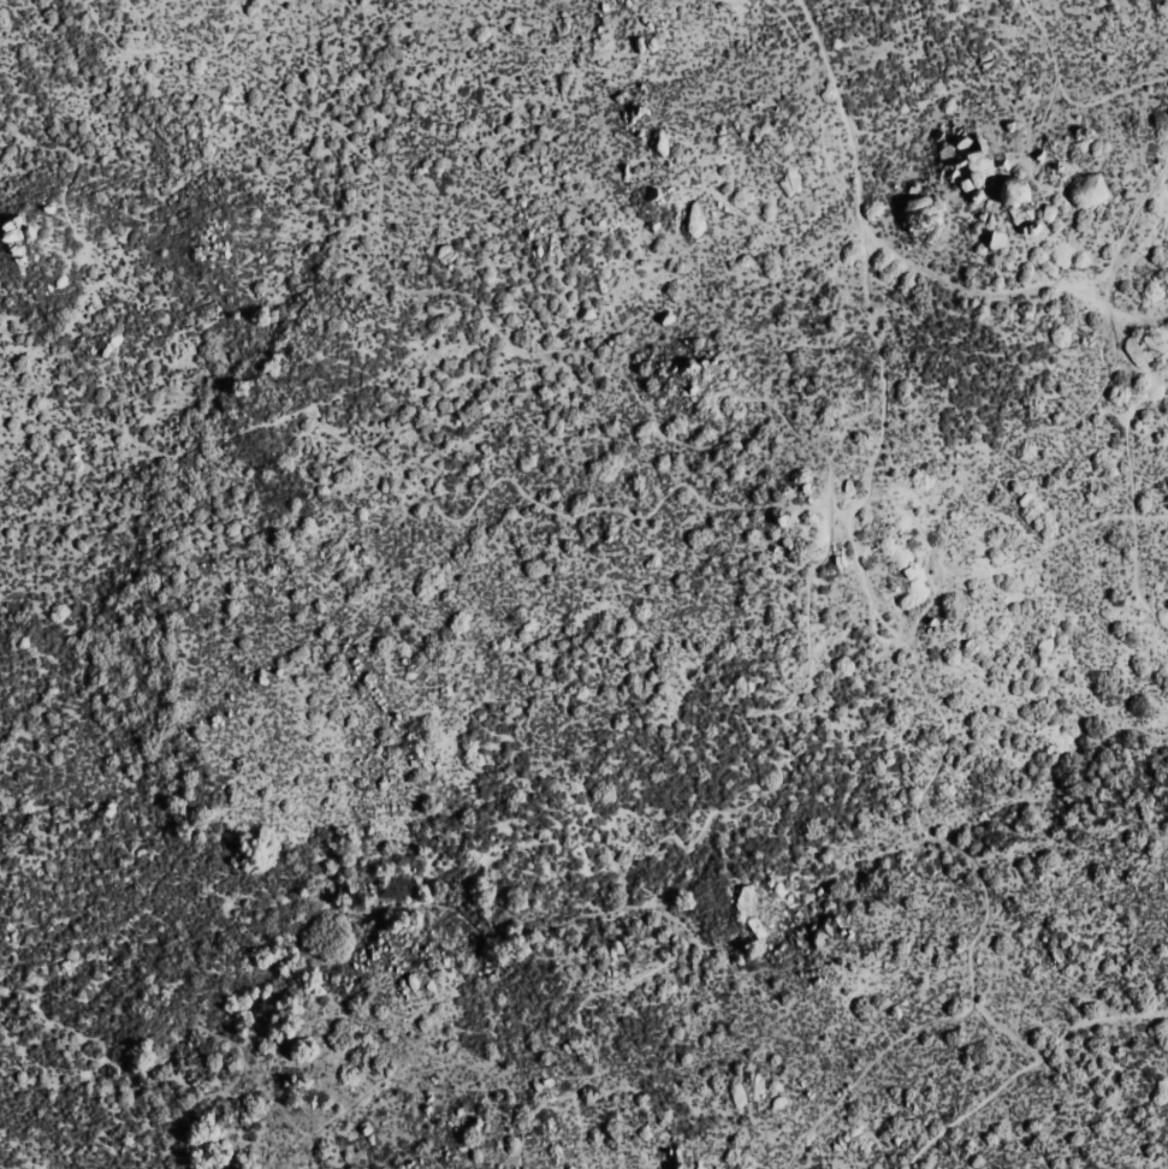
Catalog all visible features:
road: (1164, 166)
road: (1053, 183)
building: (1085, 191)
building: (917, 212)
building: (994, 239)

